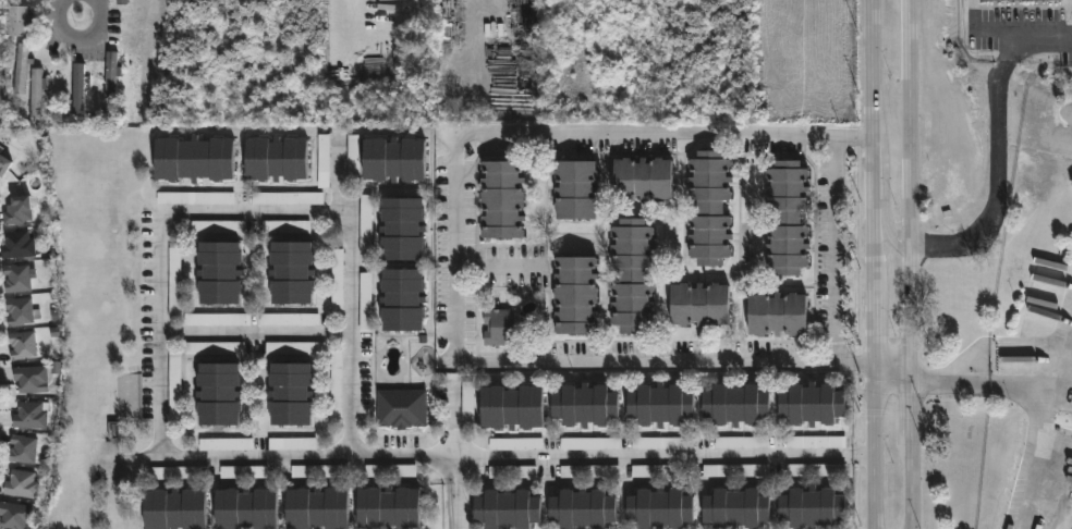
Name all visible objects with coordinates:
building: (1021, 0)
building: (122, 3)
road: (353, 13)
road: (1000, 30)
building: (22, 33)
road: (80, 37)
building: (21, 70)
building: (36, 73)
building: (111, 76)
building: (93, 87)
building: (78, 88)
building: (37, 93)
building: (0, 103)
road: (995, 145)
building: (353, 157)
building: (193, 158)
building: (275, 158)
building: (393, 159)
building: (324, 161)
building: (3, 163)
building: (643, 179)
building: (575, 188)
building: (195, 198)
building: (288, 198)
building: (502, 198)
building: (710, 208)
road: (884, 208)
building: (16, 210)
road: (256, 211)
building: (788, 217)
building: (287, 227)
building: (403, 229)
building: (17, 245)
road: (454, 245)
road: (835, 247)
road: (875, 263)
road: (907, 264)
road: (497, 267)
building: (219, 272)
building: (291, 272)
building: (633, 275)
building: (16, 278)
building: (174, 283)
building: (576, 294)
building: (403, 299)
building: (365, 303)
building: (701, 304)
building: (19, 311)
building: (778, 313)
building: (217, 320)
building: (290, 320)
building: (498, 327)
road: (254, 331)
building: (22, 344)
building: (214, 348)
building: (295, 348)
road: (892, 371)
building: (31, 378)
road: (1008, 379)
building: (337, 385)
building: (174, 386)
building: (218, 394)
building: (291, 394)
building: (736, 404)
building: (813, 404)
building: (585, 405)
building: (661, 405)
building: (468, 406)
building: (512, 407)
building: (401, 408)
building: (29, 416)
road: (454, 421)
building: (799, 442)
building: (744, 443)
building: (288, 444)
building: (507, 444)
building: (226, 445)
building: (23, 450)
road: (1039, 453)
road: (666, 457)
road: (287, 460)
building: (714, 470)
building: (316, 471)
building: (391, 471)
building: (244, 472)
building: (175, 473)
building: (21, 484)
building: (814, 507)
building: (245, 508)
building: (317, 508)
building: (389, 508)
building: (661, 508)
building: (738, 508)
building: (174, 509)
building: (508, 509)
building: (583, 509)
building: (15, 515)

